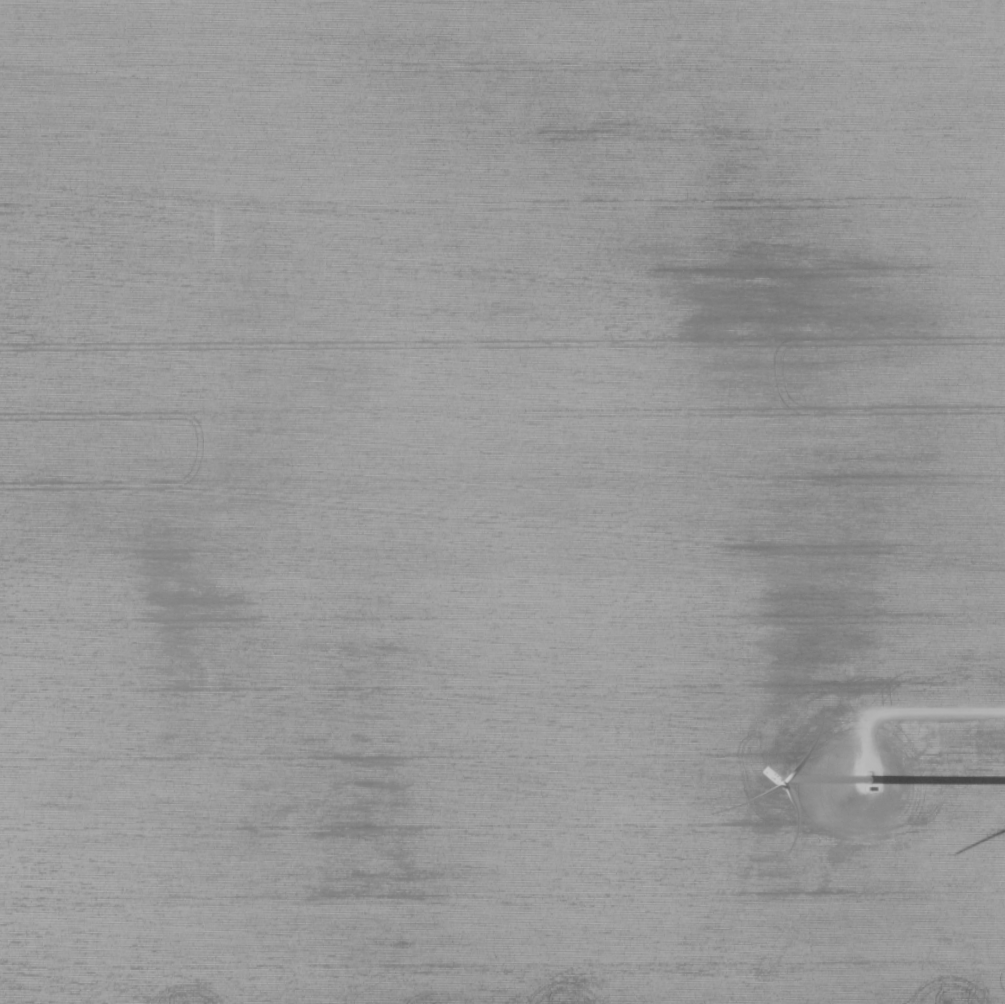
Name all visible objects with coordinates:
wind turbine: (876, 776)

